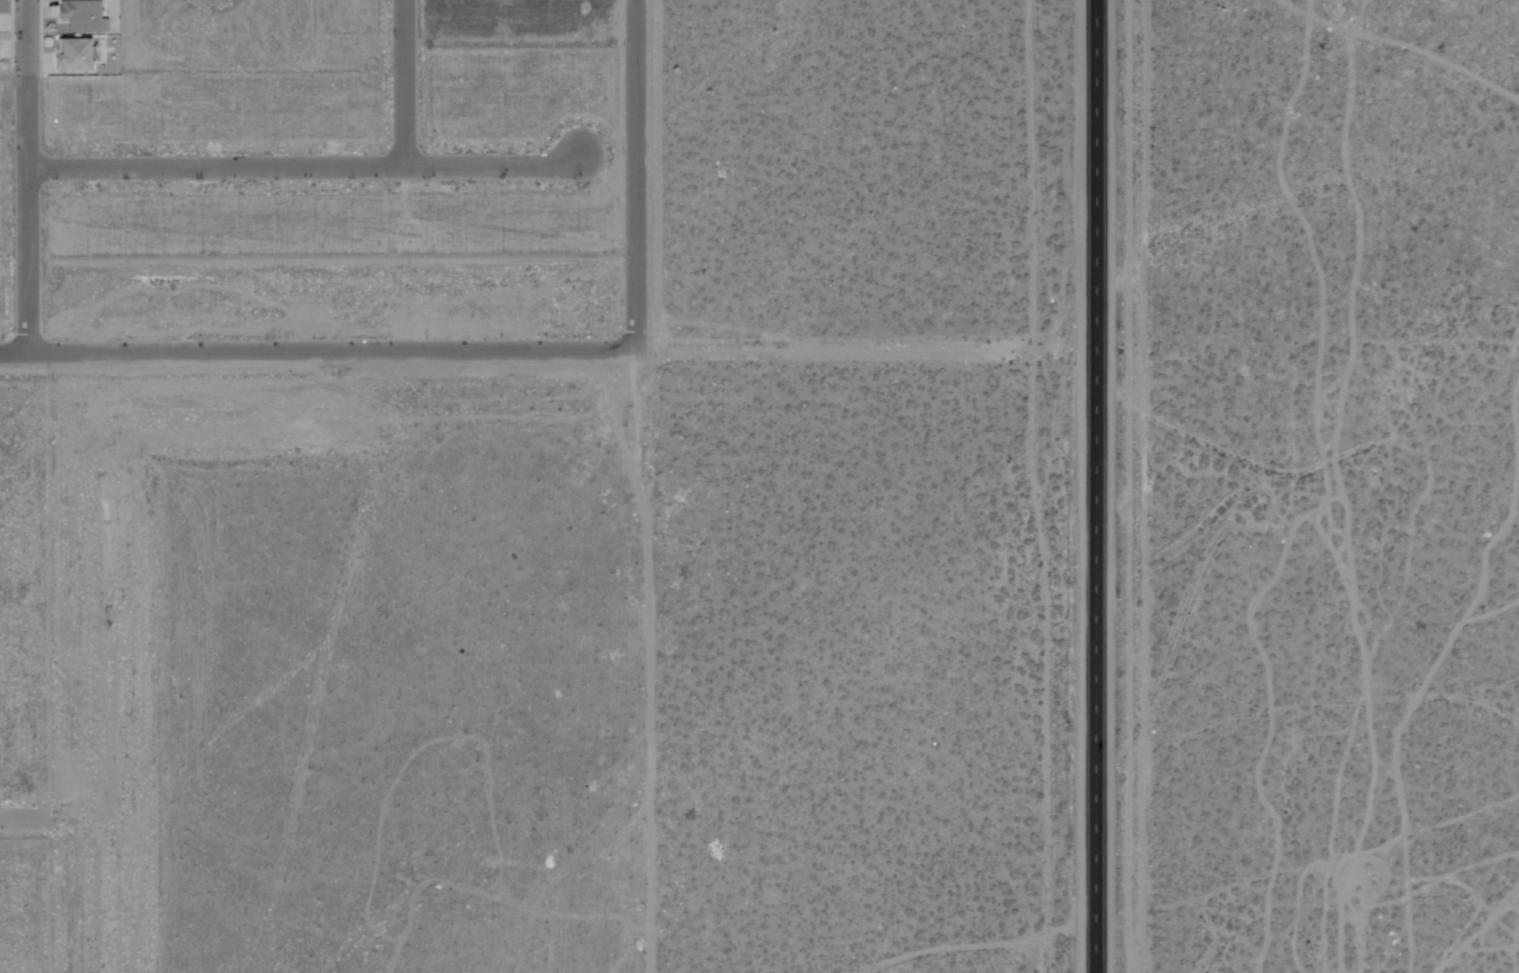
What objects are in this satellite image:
building: (71, 55)
road: (405, 85)
road: (308, 170)
road: (637, 173)
road: (29, 176)
road: (314, 351)
road: (1096, 486)
road: (651, 657)
road: (22, 821)

